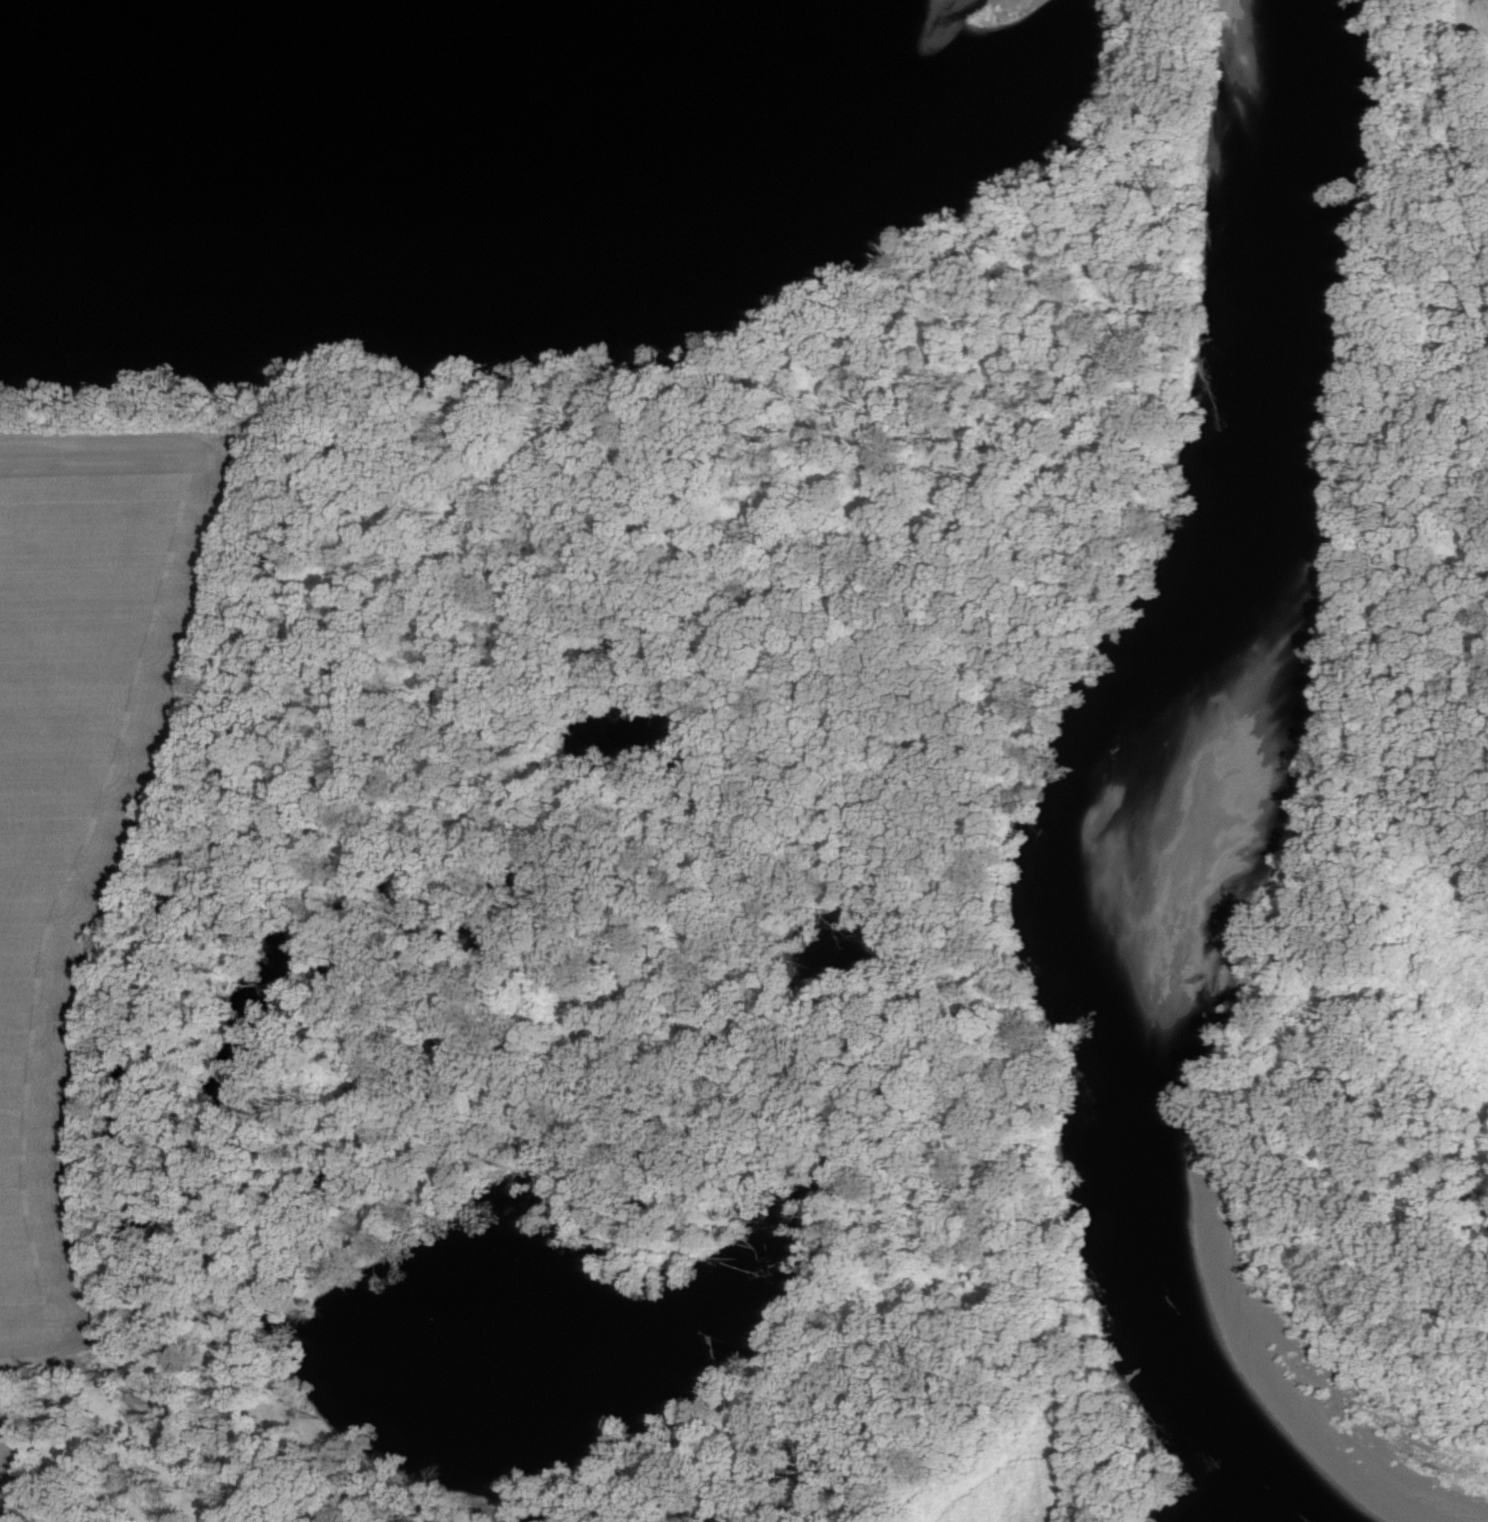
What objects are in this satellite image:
river: (1107, 810)
building: (206, 1521)

